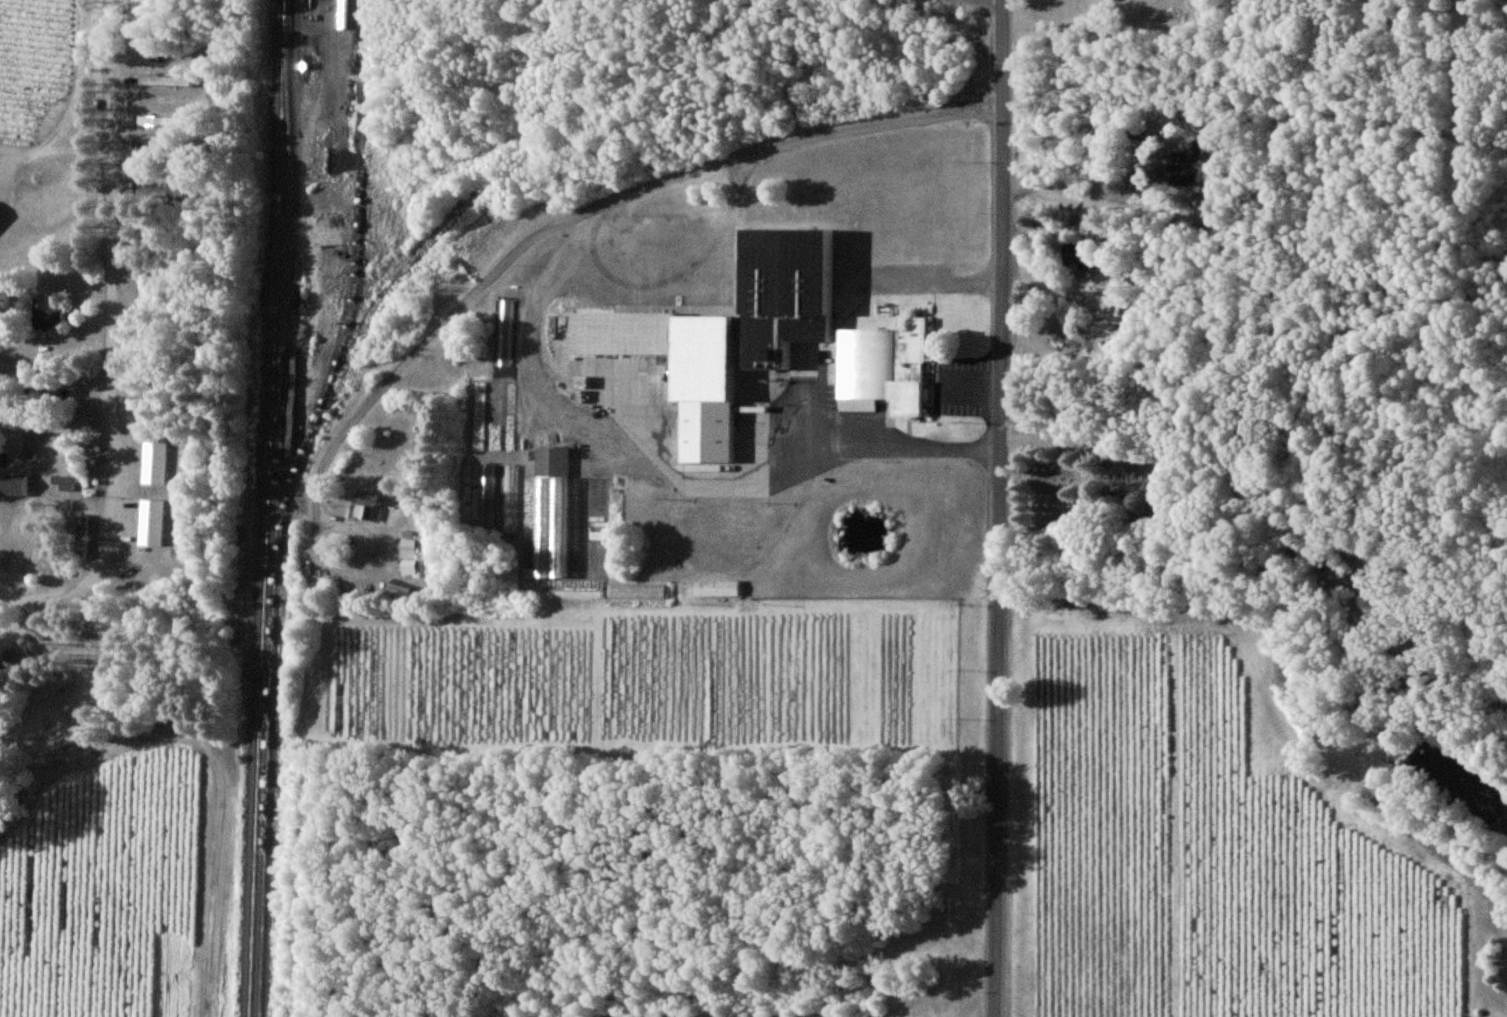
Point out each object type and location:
road: (1001, 0)
road: (1004, 0)
road: (1189, 75)
building: (165, 80)
building: (156, 120)
building: (1180, 168)
road: (604, 194)
road: (110, 195)
road: (1261, 227)
building: (1076, 253)
road: (940, 281)
building: (44, 313)
building: (505, 332)
building: (725, 334)
building: (880, 369)
road: (34, 403)
building: (154, 461)
building: (61, 481)
building: (13, 485)
building: (366, 506)
railway: (269, 508)
railway: (278, 508)
road: (1000, 509)
building: (551, 512)
park: (1097, 517)
building: (151, 522)
building: (80, 535)
road: (110, 535)
building: (407, 548)
building: (408, 567)
building: (716, 588)
building: (24, 646)
building: (6, 654)
building: (47, 687)

